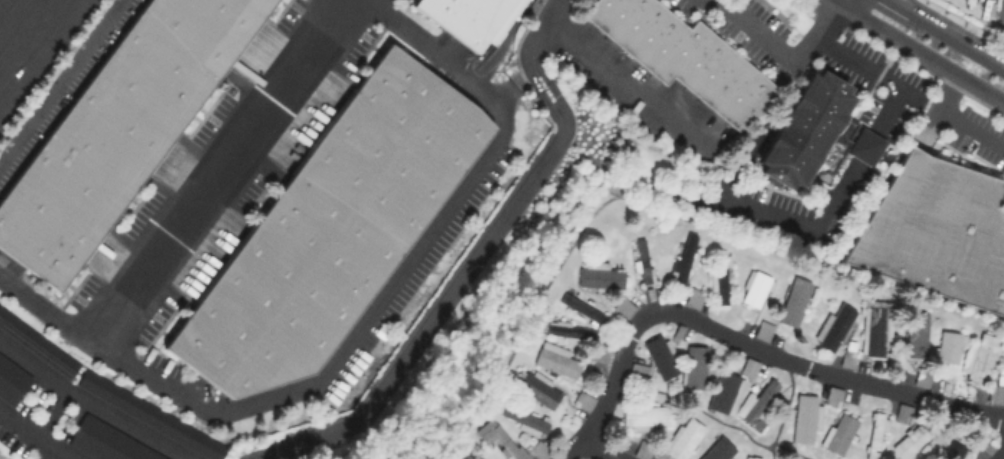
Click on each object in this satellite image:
road: (368, 2)
road: (835, 2)
road: (841, 2)
building: (464, 17)
road: (946, 34)
road: (762, 35)
road: (922, 53)
road: (44, 59)
building: (688, 60)
road: (863, 66)
road: (626, 73)
road: (61, 82)
road: (513, 83)
road: (924, 102)
road: (957, 121)
building: (116, 129)
building: (816, 132)
road: (867, 146)
road: (217, 172)
road: (770, 212)
building: (331, 228)
building: (935, 231)
road: (578, 233)
road: (477, 258)
building: (684, 259)
building: (599, 275)
building: (719, 280)
building: (755, 287)
building: (794, 301)
building: (624, 306)
road: (365, 321)
building: (834, 326)
building: (876, 326)
building: (763, 329)
building: (569, 331)
building: (915, 332)
road: (738, 340)
building: (37, 345)
building: (949, 346)
building: (599, 353)
building: (661, 356)
building: (983, 356)
building: (556, 359)
building: (695, 366)
building: (749, 367)
building: (13, 379)
building: (536, 387)
building: (725, 392)
building: (833, 395)
road: (92, 403)
building: (756, 405)
road: (692, 406)
road: (786, 411)
road: (53, 412)
building: (903, 413)
building: (646, 416)
building: (152, 417)
building: (522, 418)
building: (805, 418)
building: (875, 432)
road: (37, 434)
building: (838, 434)
building: (499, 438)
building: (683, 439)
building: (910, 440)
building: (112, 442)
road: (596, 448)
building: (718, 450)
building: (953, 451)
building: (751, 457)
road: (1003, 457)

